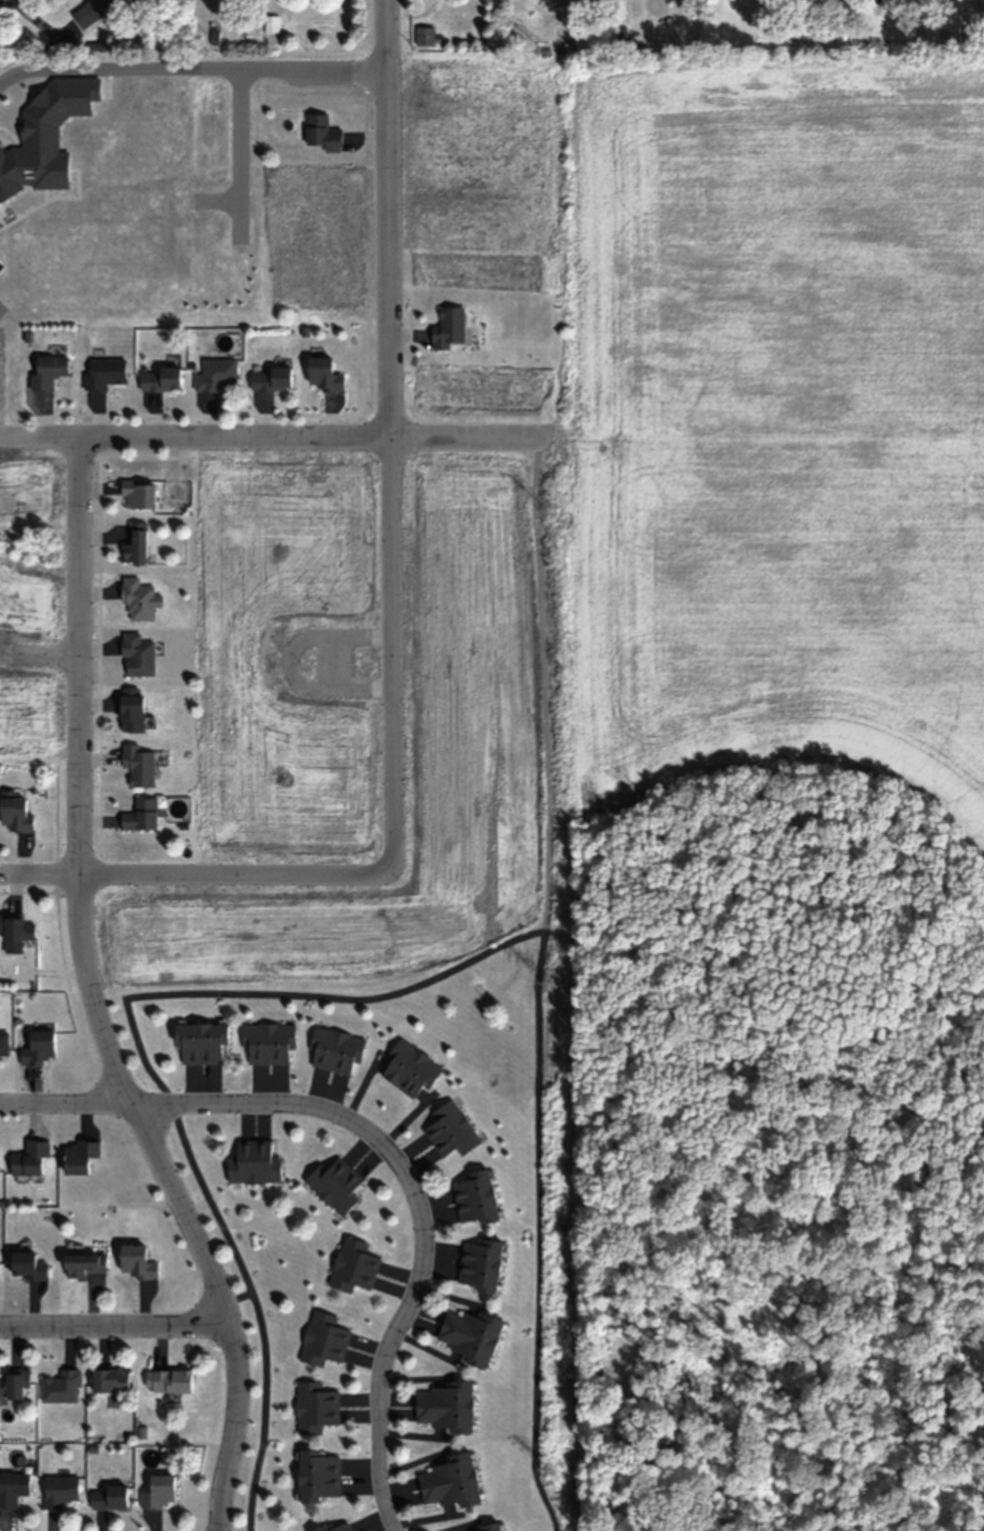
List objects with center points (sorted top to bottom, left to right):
building: (91, 10)
building: (424, 34)
power tower: (546, 51)
road: (191, 67)
building: (321, 133)
building: (448, 328)
building: (48, 371)
building: (105, 373)
building: (217, 374)
building: (323, 374)
building: (270, 379)
building: (161, 380)
crop: (781, 423)
road: (389, 433)
road: (272, 435)
building: (138, 492)
power tower: (546, 508)
building: (135, 543)
building: (139, 598)
building: (137, 653)
road: (46, 654)
building: (132, 709)
building: (138, 765)
building: (15, 814)
building: (141, 815)
road: (194, 874)
building: (18, 930)
power tower: (546, 983)
road: (91, 999)
building: (266, 1037)
building: (198, 1038)
building: (3, 1044)
building: (38, 1047)
building: (335, 1048)
building: (411, 1066)
road: (174, 1101)
building: (450, 1128)
building: (79, 1156)
building: (29, 1158)
building: (251, 1161)
building: (335, 1187)
building: (474, 1195)
building: (360, 1260)
building: (136, 1262)
building: (83, 1264)
building: (481, 1264)
building: (27, 1266)
road: (403, 1311)
road: (117, 1325)
building: (471, 1331)
building: (325, 1337)
building: (109, 1380)
building: (167, 1380)
building: (12, 1386)
building: (61, 1387)
building: (318, 1407)
building: (445, 1407)
power tower: (549, 1468)
building: (318, 1475)
building: (448, 1483)
building: (13, 1488)
building: (60, 1490)
building: (158, 1492)
building: (108, 1497)
building: (336, 1525)
building: (486, 1528)

